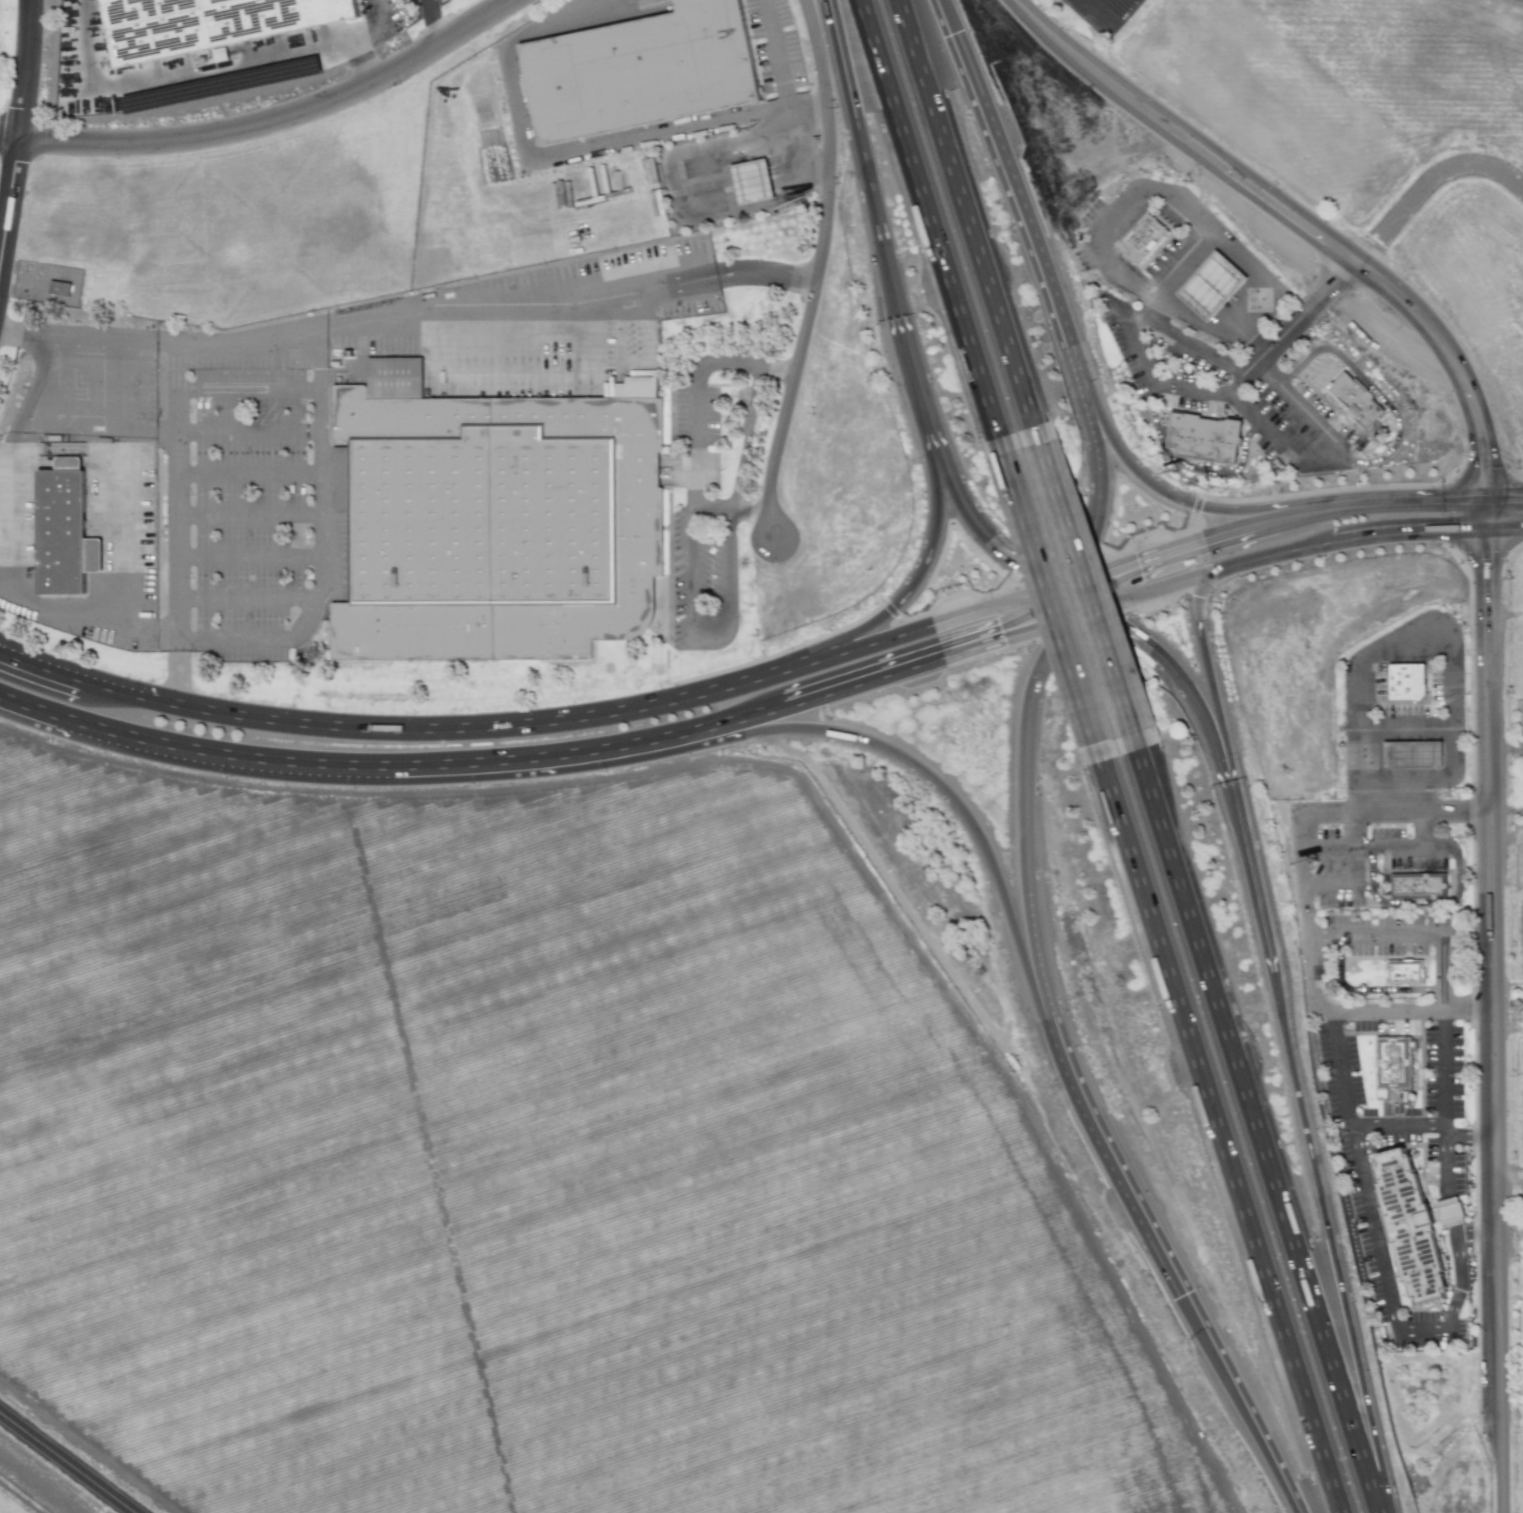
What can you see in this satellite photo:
road: (86, 9)
building: (201, 23)
road: (431, 23)
road: (361, 40)
road: (337, 48)
road: (27, 68)
building: (633, 68)
road: (780, 73)
road: (166, 77)
road: (1102, 79)
road: (276, 120)
road: (10, 134)
road: (863, 152)
building: (752, 182)
road: (1426, 183)
road: (10, 189)
road: (674, 195)
road: (1273, 205)
road: (970, 210)
road: (925, 216)
road: (1196, 224)
building: (1147, 243)
road: (810, 269)
road: (1253, 277)
building: (72, 285)
building: (1214, 294)
road: (1397, 297)
building: (1261, 302)
road: (482, 309)
road: (1049, 315)
road: (1172, 339)
road: (76, 341)
road: (916, 379)
road: (247, 387)
road: (1373, 390)
road: (1293, 404)
building: (1356, 405)
road: (1472, 416)
road: (692, 429)
road: (247, 431)
road: (1104, 434)
building: (1212, 442)
road: (247, 472)
road: (1502, 502)
road: (1417, 504)
road: (1283, 507)
road: (1320, 512)
road: (247, 514)
building: (490, 516)
road: (176, 527)
road: (1502, 528)
building: (65, 530)
road: (1415, 532)
road: (1199, 539)
road: (319, 544)
road: (248, 555)
road: (1003, 555)
traffic signals: (1114, 568)
road: (1184, 577)
road: (1074, 578)
road: (1087, 581)
road: (902, 587)
traffic signals: (1035, 592)
road: (1047, 595)
traffic signals: (1119, 597)
road: (245, 598)
road: (911, 629)
traffic signals: (1022, 631)
road: (707, 632)
road: (1145, 648)
road: (1202, 654)
road: (899, 668)
road: (43, 669)
building: (1410, 674)
road: (750, 675)
road: (1452, 691)
road: (745, 726)
road: (439, 730)
building: (1416, 749)
road: (191, 751)
road: (585, 753)
road: (1025, 790)
road: (1390, 814)
road: (973, 826)
road: (1248, 862)
building: (1424, 883)
road: (1439, 963)
building: (1408, 965)
road: (1316, 996)
road: (1488, 1007)
building: (1395, 1058)
road: (1420, 1126)
road: (1263, 1127)
road: (1217, 1134)
crop: (544, 1160)
road: (1507, 1173)
building: (1446, 1211)
building: (1412, 1226)
road: (1329, 1233)
road: (1376, 1256)
road: (1174, 1271)
road: (67, 1462)
road: (1299, 1506)

